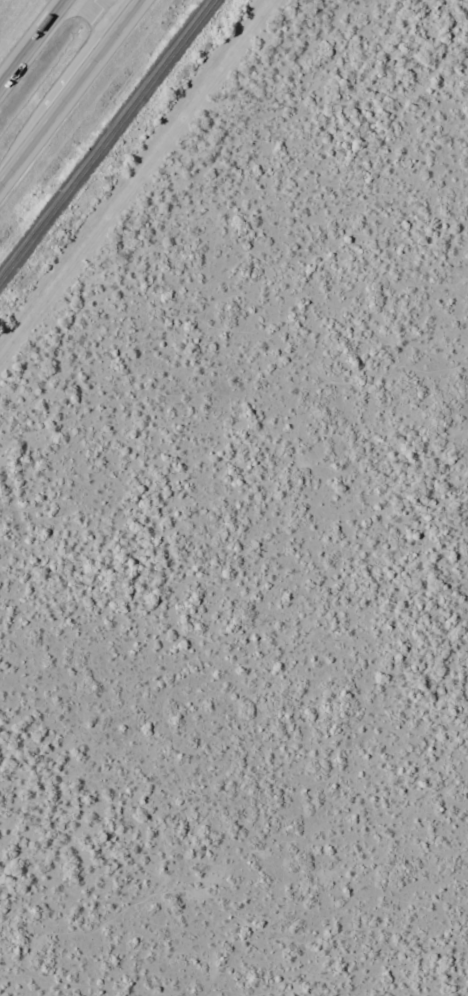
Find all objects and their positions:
road: (116, 12)
road: (33, 43)
road: (76, 99)
railway: (105, 138)

